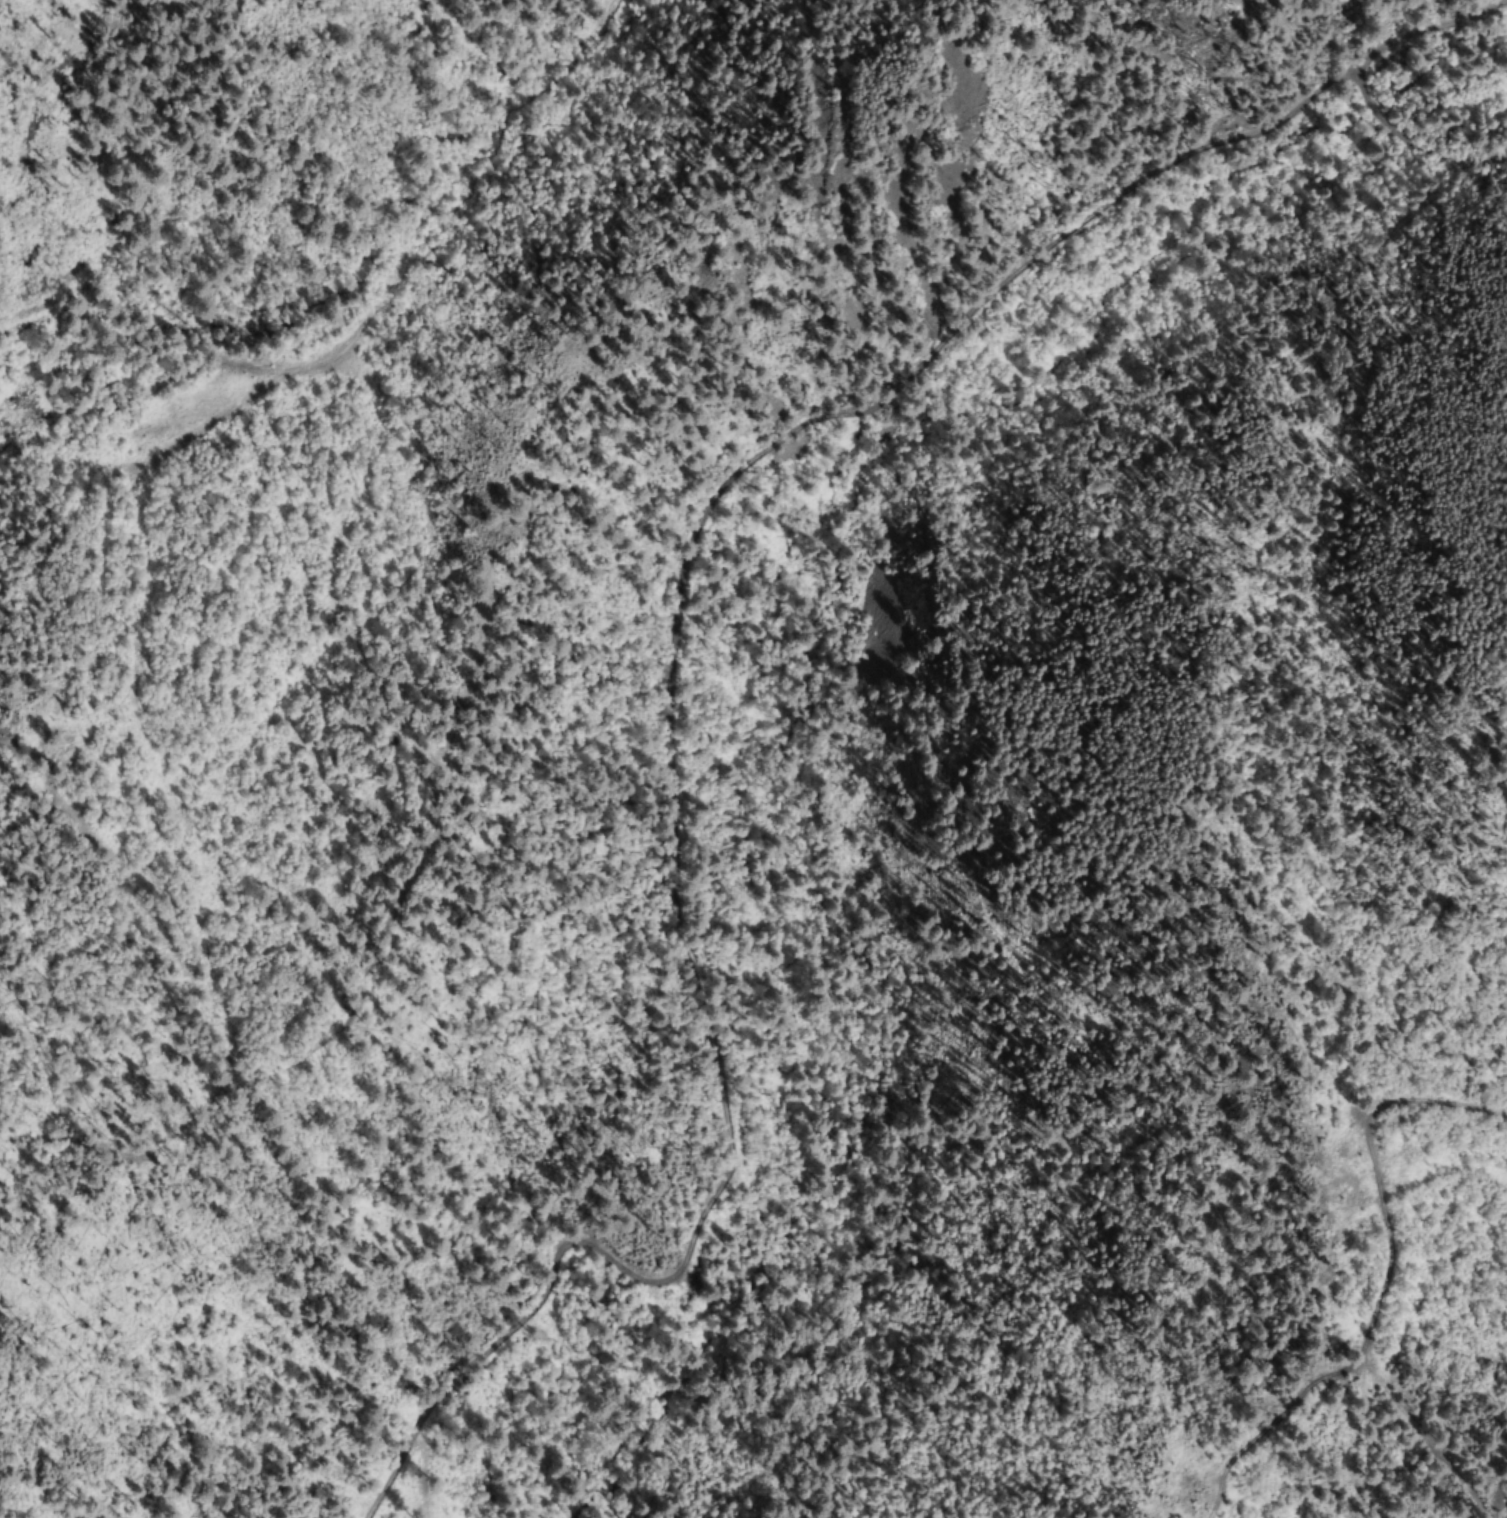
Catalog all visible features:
road: (1445, 23)
road: (1412, 143)
road: (637, 668)

